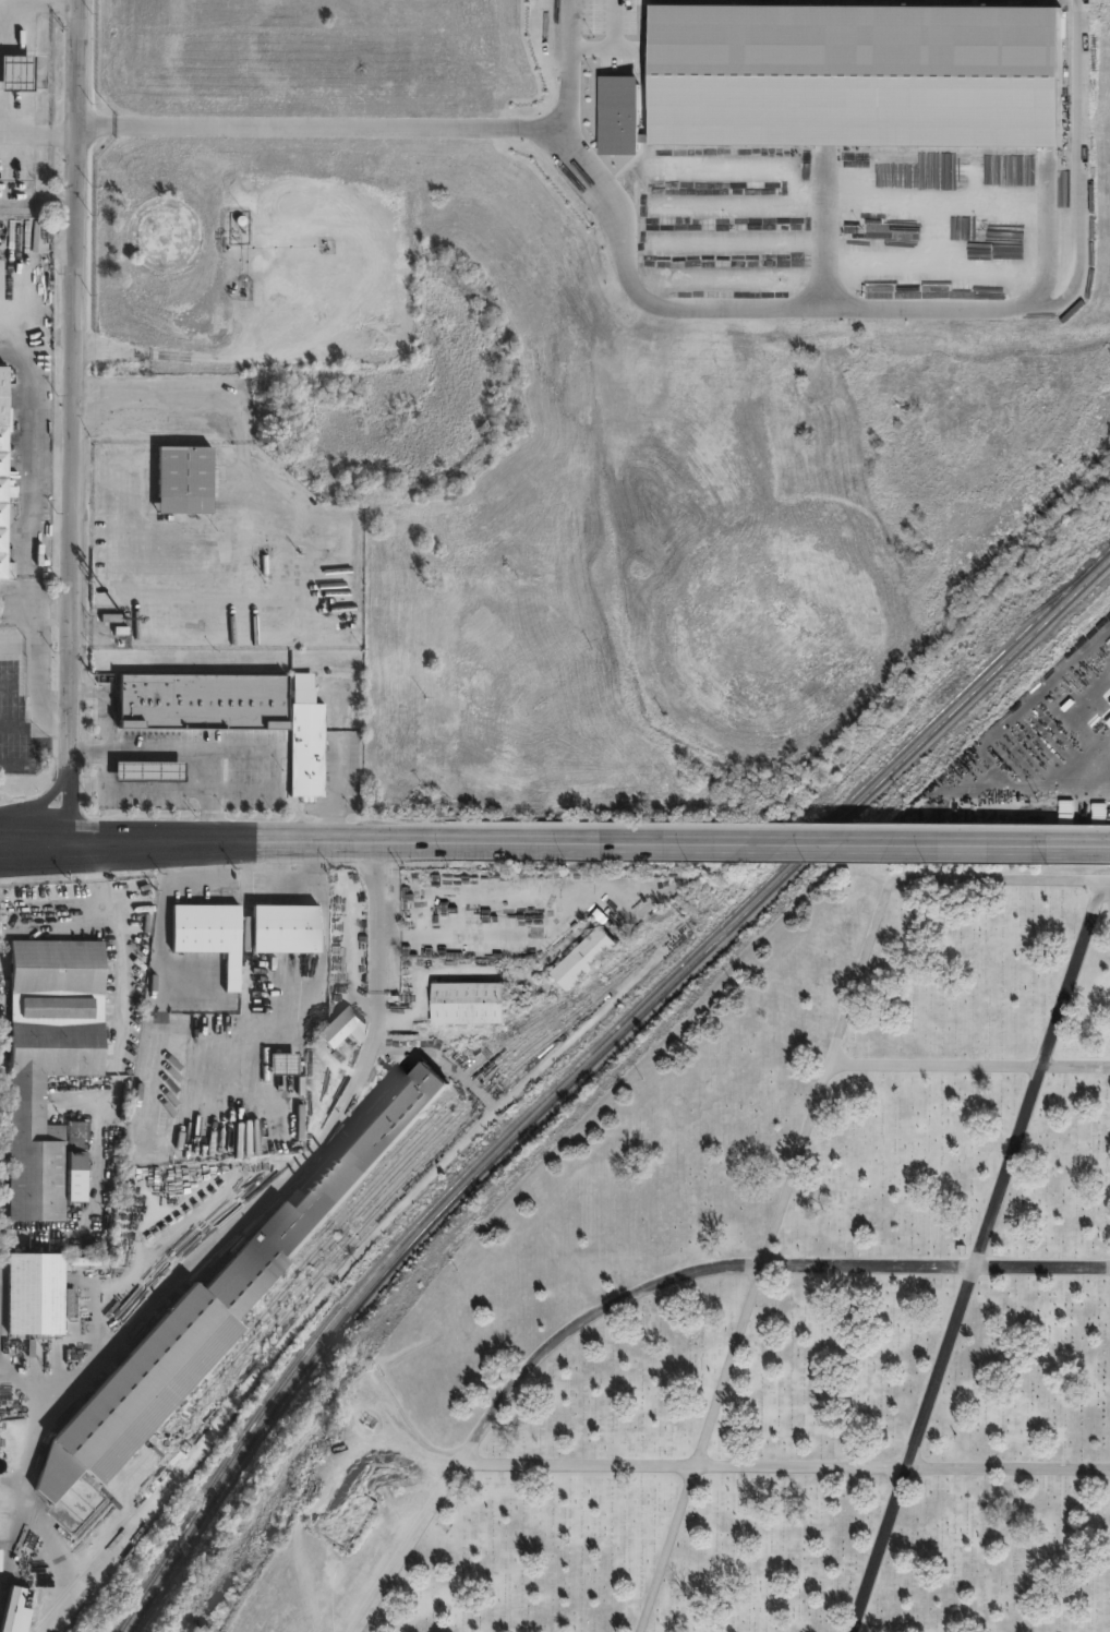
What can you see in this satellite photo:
road: (613, 46)
road: (565, 68)
building: (854, 71)
building: (14, 72)
road: (315, 124)
road: (38, 133)
petroleum well: (238, 220)
road: (907, 305)
road: (238, 347)
road: (72, 429)
road: (39, 455)
building: (4, 477)
building: (183, 481)
road: (319, 579)
road: (39, 628)
road: (39, 680)
road: (9, 684)
building: (195, 703)
road: (105, 704)
road: (36, 727)
building: (304, 739)
road: (88, 749)
road: (15, 766)
building: (143, 773)
road: (340, 784)
road: (260, 791)
road: (45, 799)
road: (212, 813)
road: (2, 824)
road: (117, 827)
road: (334, 838)
road: (775, 838)
road: (192, 844)
road: (1, 855)
road: (113, 855)
road: (36, 856)
road: (314, 884)
road: (1108, 886)
road: (563, 902)
building: (290, 927)
building: (214, 934)
road: (162, 945)
building: (595, 957)
building: (59, 965)
building: (480, 1003)
building: (60, 1007)
building: (339, 1032)
railway: (579, 1058)
building: (288, 1064)
road: (969, 1064)
railway: (586, 1066)
road: (114, 1075)
building: (45, 1112)
building: (84, 1130)
road: (798, 1151)
building: (84, 1161)
road: (208, 1249)
road: (977, 1256)
road: (647, 1282)
building: (41, 1295)
building: (218, 1313)
park: (776, 1316)
road: (784, 1463)
building: (0, 1558)
building: (22, 1613)

